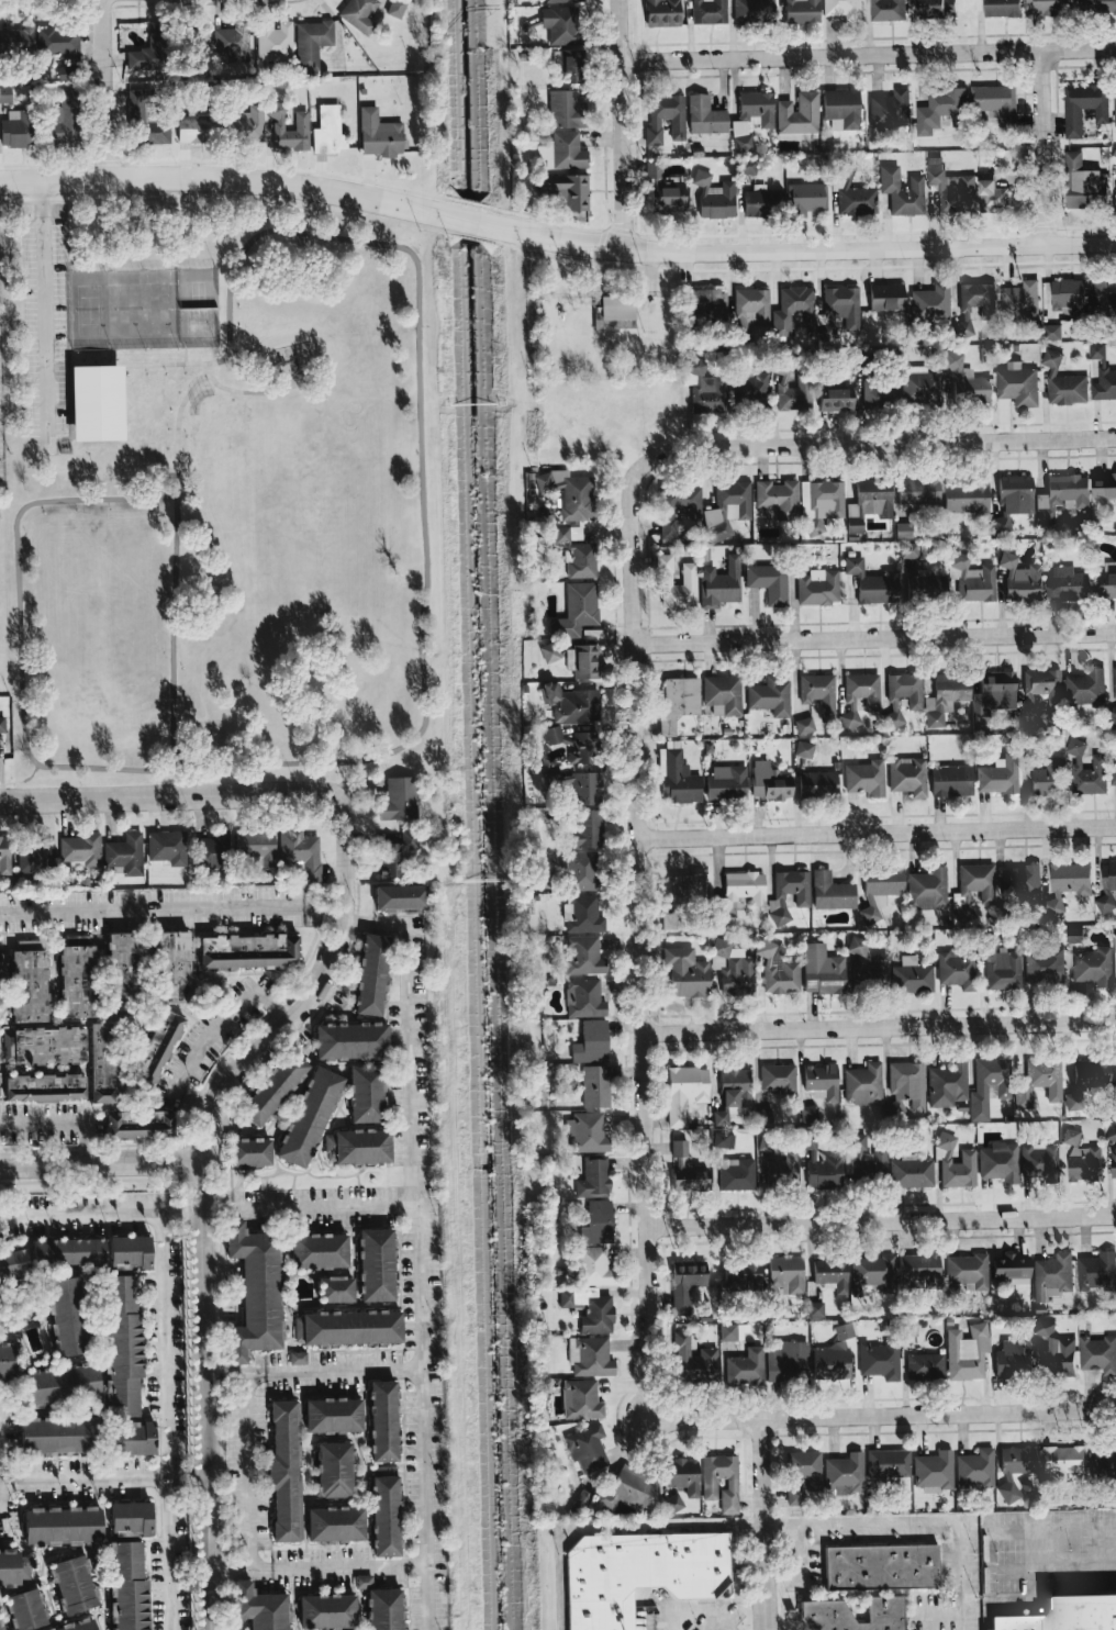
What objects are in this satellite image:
building: (562, 1)
building: (1051, 7)
building: (1096, 7)
building: (397, 8)
building: (936, 8)
building: (1002, 8)
building: (844, 9)
building: (886, 10)
building: (710, 11)
building: (754, 11)
building: (802, 11)
building: (662, 12)
building: (360, 14)
building: (560, 24)
building: (16, 41)
building: (60, 42)
building: (232, 42)
building: (275, 42)
building: (312, 43)
building: (152, 49)
road: (870, 55)
building: (570, 66)
building: (65, 74)
road: (108, 89)
building: (5, 94)
building: (996, 105)
building: (1083, 108)
building: (566, 109)
building: (841, 109)
building: (890, 109)
building: (1114, 110)
building: (940, 111)
building: (799, 114)
building: (705, 115)
building: (751, 118)
building: (65, 119)
building: (145, 119)
building: (665, 119)
building: (301, 123)
road: (624, 123)
building: (245, 125)
building: (19, 129)
building: (197, 129)
building: (328, 131)
building: (379, 134)
road: (1045, 147)
building: (565, 150)
building: (748, 166)
road: (220, 179)
building: (1083, 182)
building: (663, 190)
building: (951, 190)
building: (565, 191)
building: (902, 191)
building: (853, 193)
building: (714, 197)
building: (992, 197)
building: (806, 198)
building: (760, 202)
road: (472, 221)
road: (100, 224)
road: (811, 250)
building: (886, 297)
building: (1069, 297)
building: (1101, 300)
building: (1019, 301)
building: (930, 302)
building: (754, 303)
building: (974, 304)
building: (710, 305)
building: (842, 305)
building: (793, 310)
building: (614, 312)
road: (43, 314)
building: (829, 326)
building: (741, 327)
parking lot: (44, 328)
building: (1051, 333)
building: (1102, 376)
building: (966, 380)
building: (1063, 383)
building: (1017, 384)
building: (920, 387)
building: (749, 388)
building: (706, 389)
building: (796, 394)
building: (880, 394)
building: (837, 400)
building: (97, 402)
road: (417, 407)
road: (885, 443)
building: (1104, 488)
park: (221, 491)
building: (918, 491)
building: (569, 493)
building: (1061, 496)
building: (778, 499)
building: (734, 500)
building: (1013, 500)
building: (869, 502)
building: (821, 504)
building: (678, 506)
building: (716, 525)
building: (903, 531)
building: (565, 534)
road: (174, 549)
building: (909, 550)
building: (581, 560)
building: (974, 579)
building: (1022, 580)
building: (1107, 581)
building: (769, 582)
building: (873, 582)
building: (721, 583)
building: (816, 583)
building: (1067, 583)
building: (677, 584)
building: (925, 584)
building: (577, 610)
road: (877, 638)
building: (550, 652)
building: (583, 661)
building: (1114, 686)
building: (1085, 689)
building: (1040, 691)
road: (22, 692)
building: (995, 692)
building: (819, 693)
building: (723, 694)
building: (903, 695)
building: (770, 696)
building: (859, 696)
building: (946, 697)
building: (678, 701)
building: (572, 703)
building: (2, 724)
building: (804, 725)
building: (551, 735)
building: (582, 748)
building: (804, 749)
building: (1086, 770)
building: (1114, 771)
building: (551, 774)
building: (907, 775)
building: (998, 775)
building: (866, 778)
road: (21, 779)
road: (310, 779)
building: (678, 779)
building: (1048, 779)
building: (951, 781)
building: (727, 782)
building: (769, 782)
building: (817, 783)
building: (587, 788)
road: (158, 797)
building: (399, 800)
river: (484, 814)
building: (585, 829)
road: (879, 833)
building: (167, 847)
building: (257, 848)
building: (80, 849)
building: (211, 850)
building: (301, 851)
building: (4, 855)
building: (35, 855)
building: (124, 855)
building: (395, 855)
building: (583, 871)
building: (1022, 880)
building: (1068, 884)
building: (974, 886)
building: (1107, 887)
building: (928, 889)
building: (880, 890)
building: (832, 892)
building: (739, 894)
building: (789, 894)
building: (683, 896)
building: (394, 898)
road: (172, 905)
building: (582, 914)
road: (643, 914)
building: (1074, 936)
building: (249, 951)
building: (584, 956)
building: (880, 961)
building: (126, 962)
building: (1114, 962)
building: (172, 967)
building: (1000, 967)
building: (1044, 967)
building: (1092, 967)
building: (735, 968)
building: (957, 969)
building: (779, 970)
building: (822, 970)
building: (687, 973)
building: (366, 975)
building: (913, 976)
building: (77, 978)
building: (29, 982)
road: (314, 983)
building: (0, 990)
building: (584, 998)
road: (880, 1028)
road: (208, 1039)
building: (347, 1042)
building: (591, 1042)
building: (44, 1046)
building: (156, 1048)
building: (102, 1062)
building: (1115, 1071)
building: (779, 1079)
building: (822, 1080)
building: (1086, 1081)
building: (1039, 1082)
building: (863, 1084)
building: (948, 1084)
building: (595, 1086)
building: (906, 1086)
building: (45, 1087)
building: (270, 1088)
building: (1003, 1088)
building: (684, 1092)
building: (733, 1093)
building: (359, 1094)
building: (808, 1114)
building: (763, 1116)
building: (303, 1118)
building: (139, 1124)
road: (63, 1125)
building: (587, 1132)
building: (724, 1140)
building: (358, 1148)
building: (1113, 1149)
building: (244, 1153)
building: (853, 1154)
building: (1082, 1159)
building: (1040, 1161)
building: (1000, 1162)
building: (955, 1163)
road: (100, 1164)
building: (822, 1165)
building: (687, 1169)
building: (781, 1172)
building: (912, 1172)
building: (737, 1174)
building: (593, 1179)
road: (305, 1205)
road: (191, 1209)
road: (169, 1212)
building: (598, 1222)
road: (883, 1222)
road: (413, 1248)
building: (62, 1252)
building: (314, 1252)
building: (124, 1253)
building: (10, 1265)
building: (371, 1265)
road: (159, 1266)
building: (594, 1266)
building: (920, 1269)
building: (1012, 1269)
building: (968, 1271)
building: (873, 1272)
building: (1097, 1272)
building: (788, 1274)
building: (832, 1274)
building: (741, 1276)
building: (1052, 1276)
building: (685, 1285)
building: (331, 1291)
building: (249, 1292)
building: (590, 1309)
building: (816, 1309)
building: (63, 1316)
building: (907, 1327)
building: (1045, 1328)
building: (347, 1329)
building: (728, 1332)
building: (118, 1347)
building: (967, 1352)
building: (834, 1354)
building: (1098, 1355)
building: (1058, 1357)
building: (298, 1358)
building: (1013, 1358)
building: (880, 1360)
building: (788, 1361)
building: (703, 1363)
building: (4, 1364)
building: (925, 1366)
building: (746, 1367)
building: (56, 1386)
road: (209, 1396)
building: (581, 1399)
road: (863, 1416)
building: (328, 1417)
building: (378, 1424)
building: (51, 1434)
building: (126, 1439)
building: (588, 1447)
building: (1062, 1462)
building: (888, 1464)
building: (1103, 1466)
road: (244, 1467)
building: (1016, 1469)
building: (330, 1470)
building: (934, 1470)
building: (975, 1470)
building: (845, 1473)
building: (802, 1474)
building: (279, 1475)
building: (684, 1475)
road: (88, 1478)
road: (194, 1478)
building: (710, 1484)
building: (628, 1493)
building: (581, 1501)
building: (672, 1503)
road: (0, 1504)
building: (381, 1518)
building: (125, 1520)
road: (766, 1525)
building: (56, 1526)
building: (330, 1527)
road: (914, 1527)
road: (1052, 1530)
road: (168, 1554)
road: (231, 1564)
building: (14, 1570)
road: (1033, 1571)
building: (638, 1573)
building: (68, 1586)
building: (870, 1587)
building: (124, 1588)
building: (376, 1605)
building: (254, 1608)
building: (21, 1610)
building: (322, 1612)
road: (690, 1612)
building: (1065, 1616)
building: (1, 1626)
building: (76, 1626)

